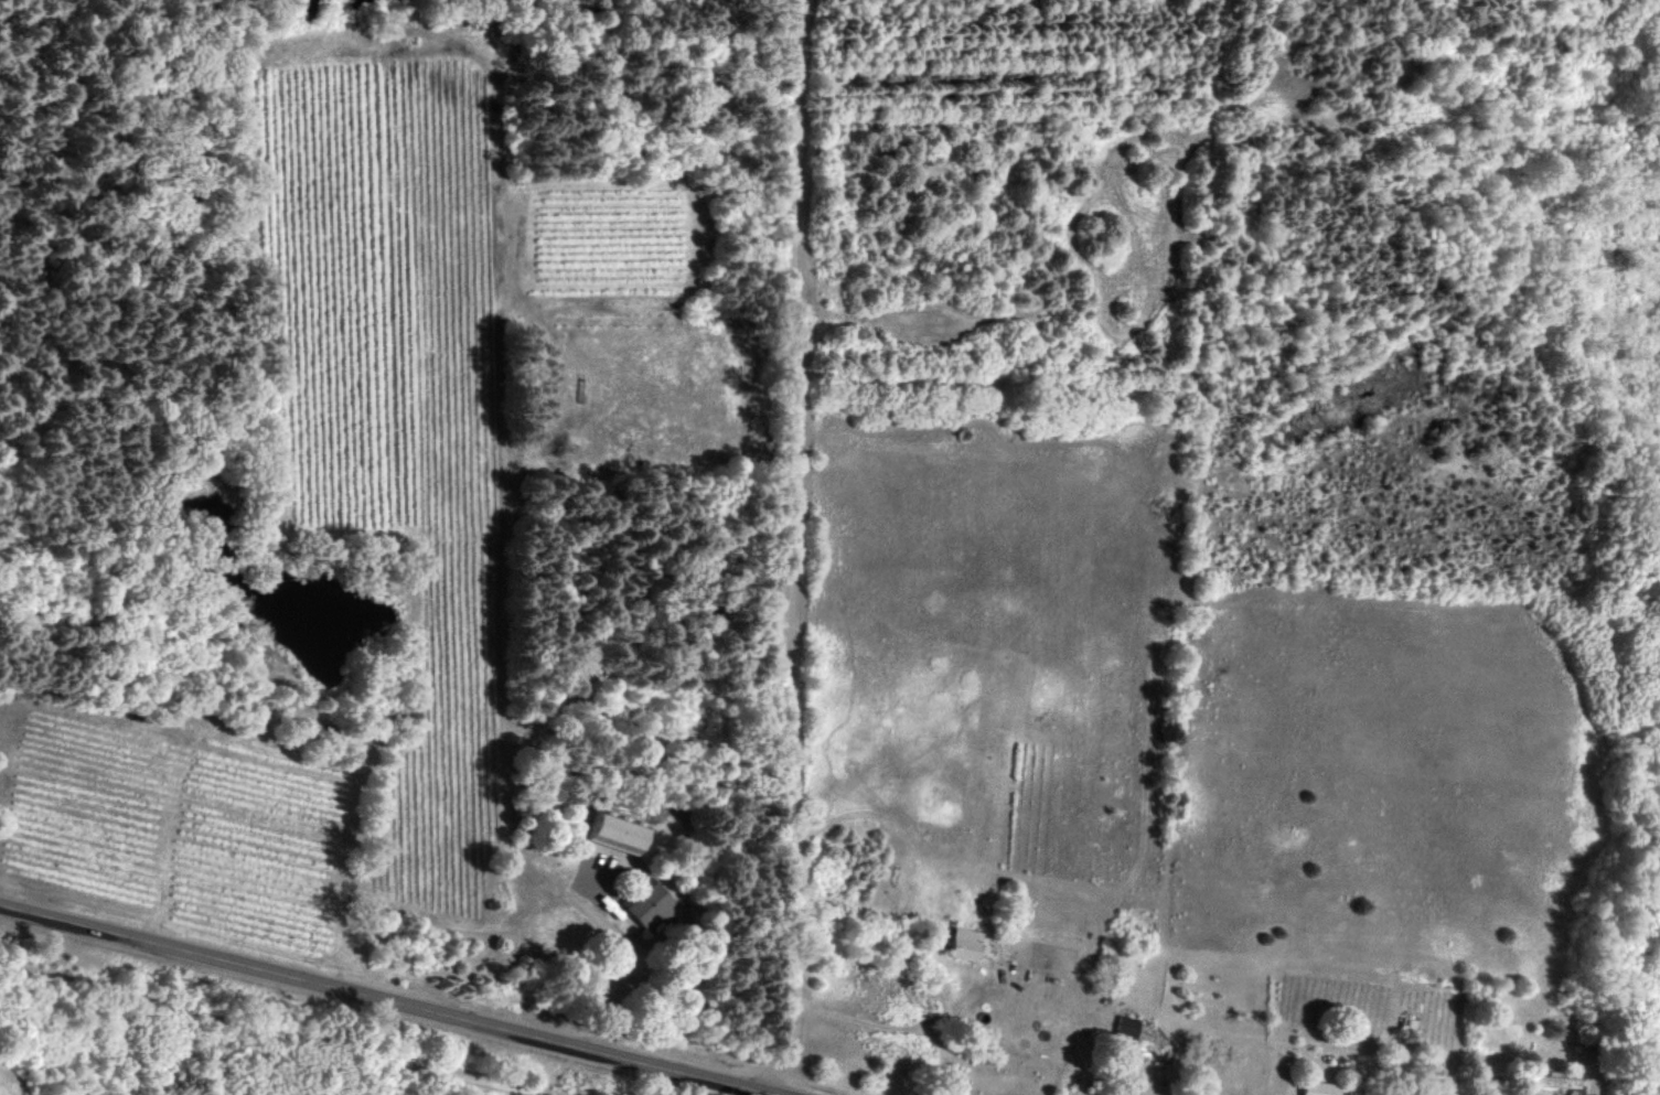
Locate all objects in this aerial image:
building: (620, 830)
building: (647, 903)
building: (965, 943)
road: (398, 998)
building: (1125, 1026)
road: (271, 1030)
building: (1319, 1087)
building: (1126, 1094)

